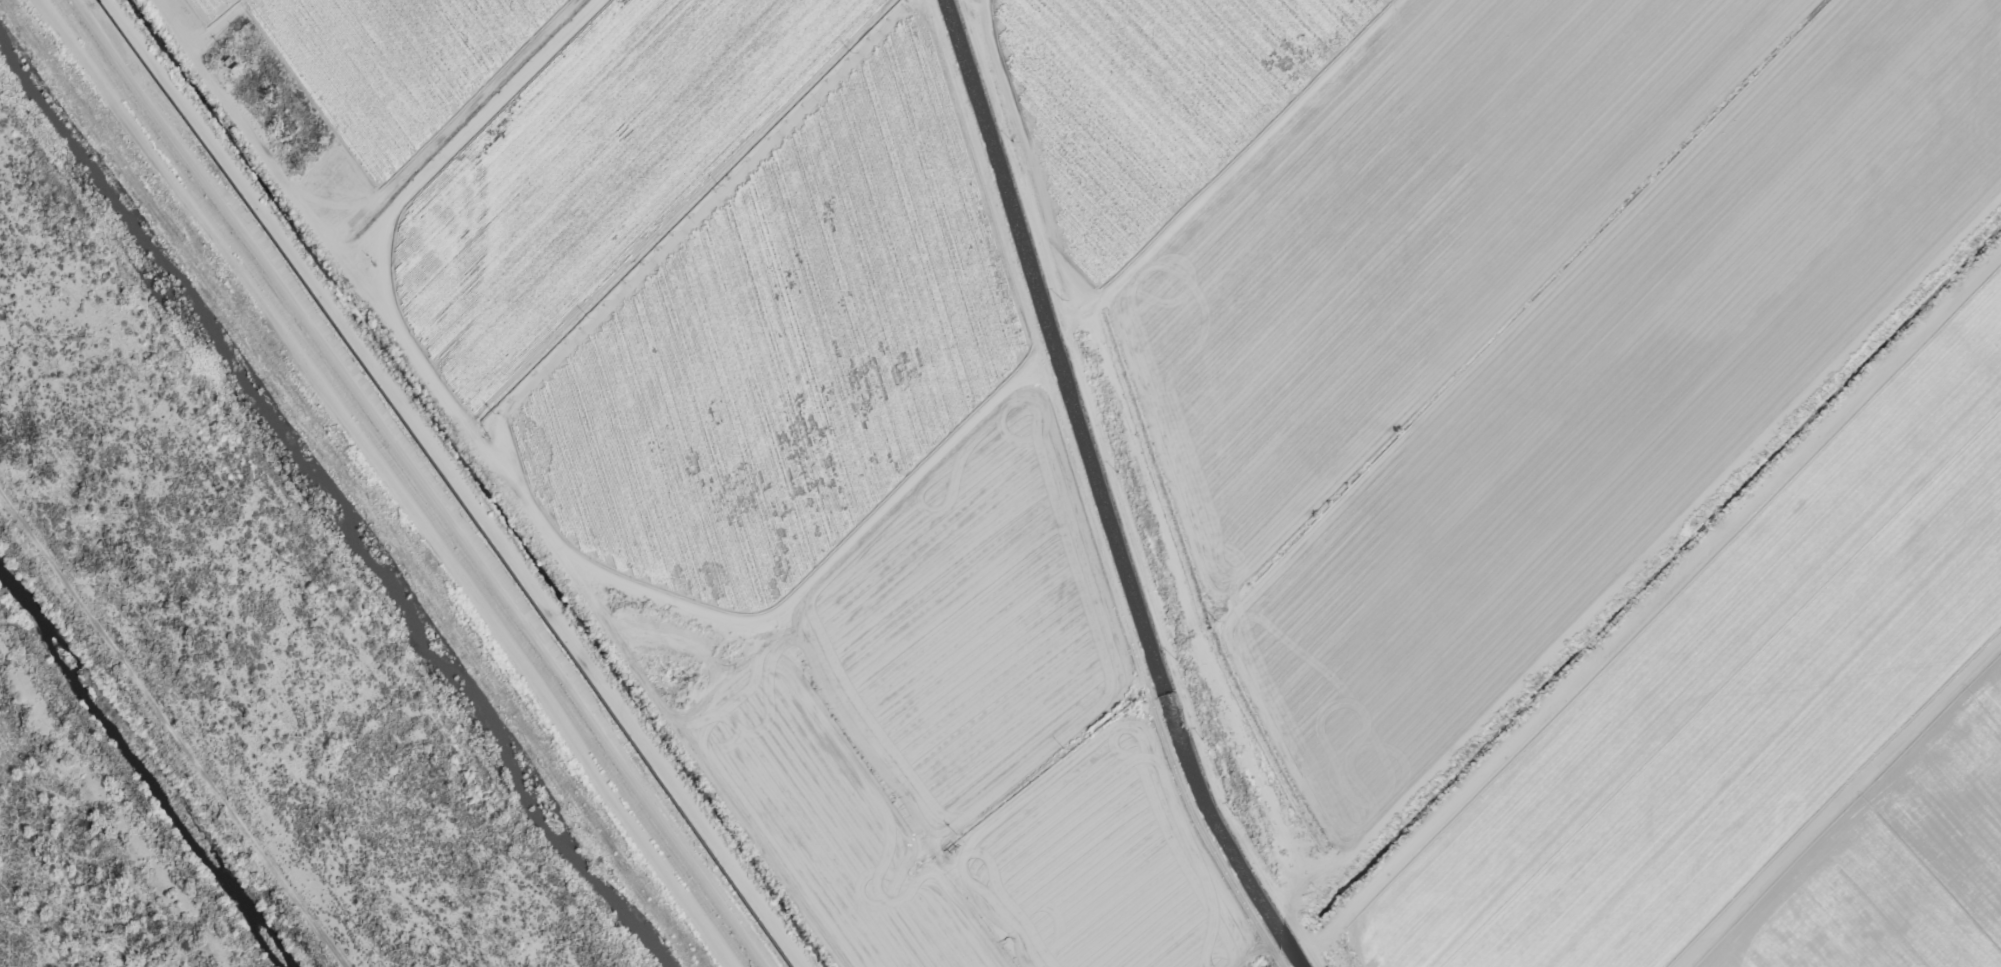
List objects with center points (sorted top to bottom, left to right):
road: (1015, 8)
road: (236, 122)
road: (470, 137)
road: (1263, 150)
road: (412, 483)
river: (334, 506)
road: (1675, 642)

